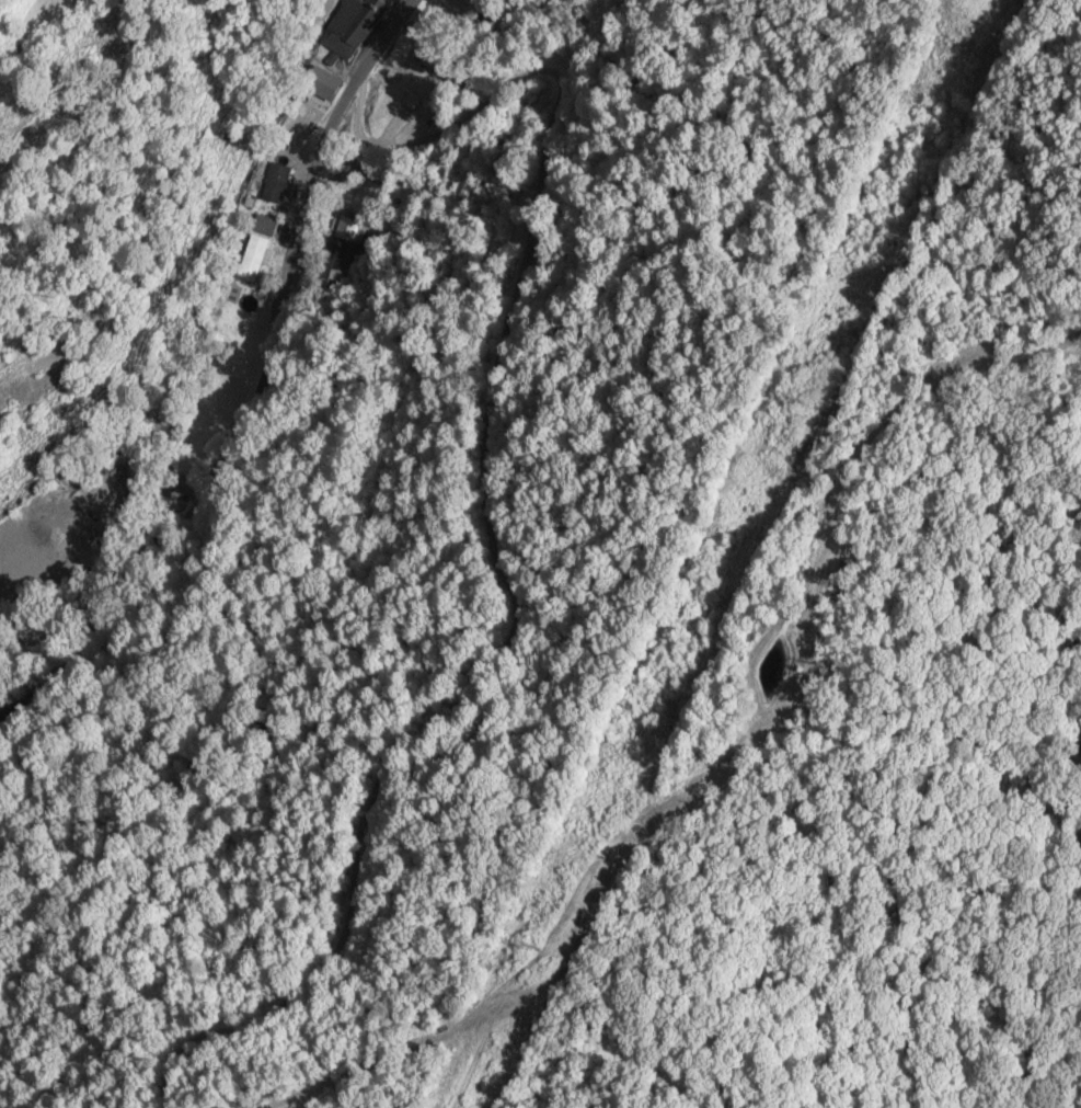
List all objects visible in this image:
building: (352, 26)
building: (310, 105)
building: (353, 240)
building: (256, 250)
road: (263, 368)
power tower: (786, 398)
power tower: (525, 941)

